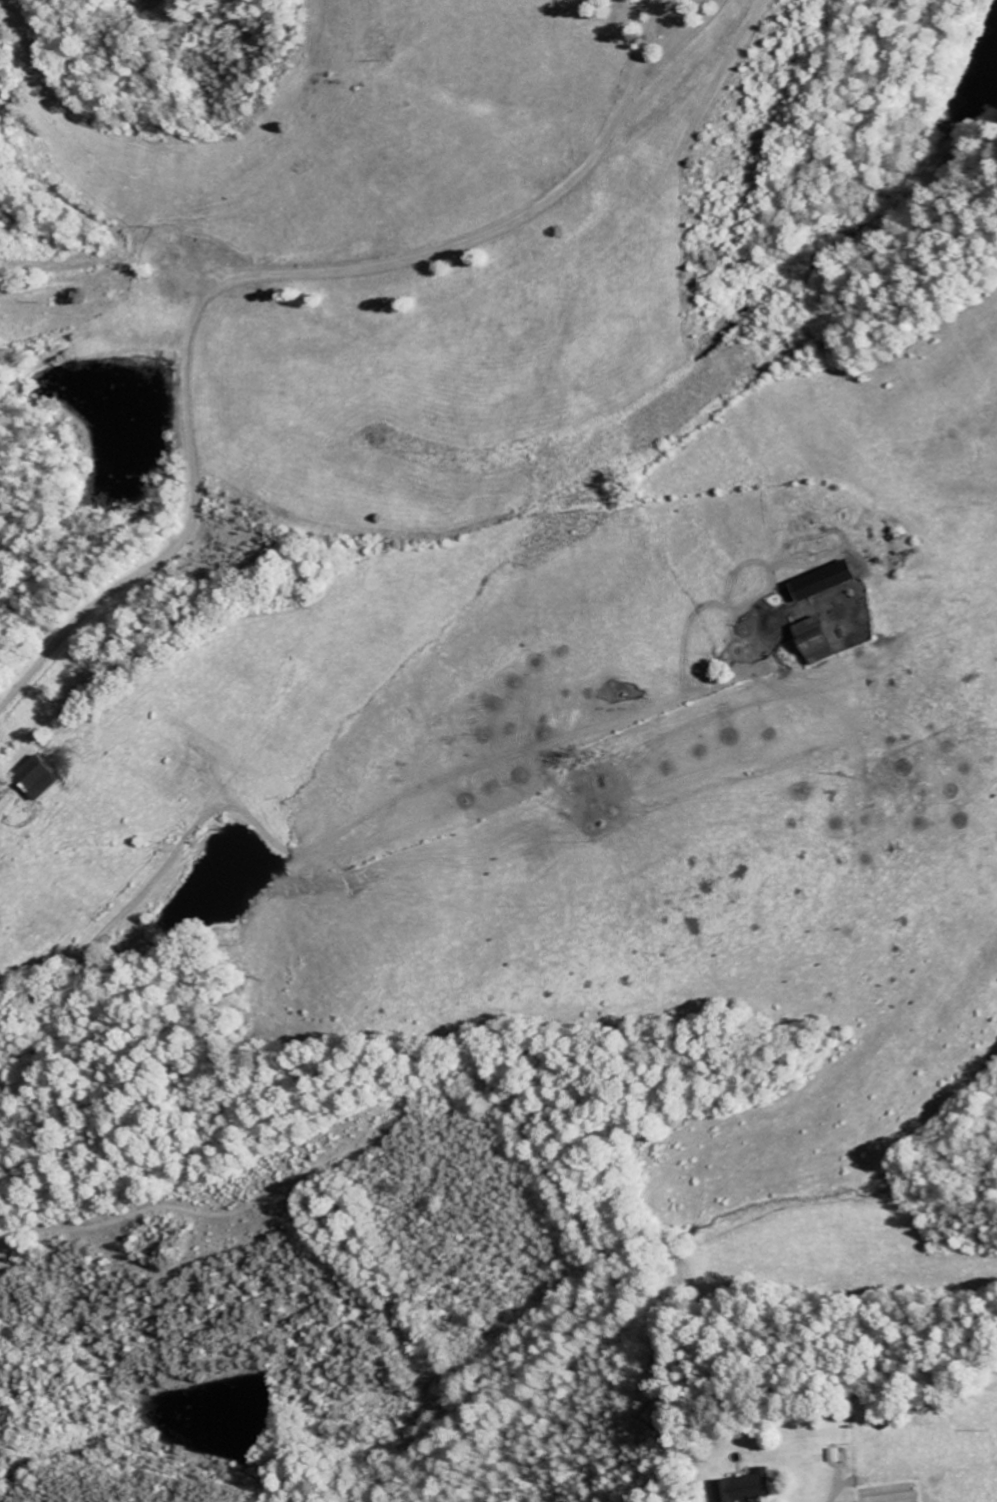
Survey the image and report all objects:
building: (822, 582)
building: (811, 641)
building: (48, 778)
building: (833, 1456)
building: (741, 1488)

